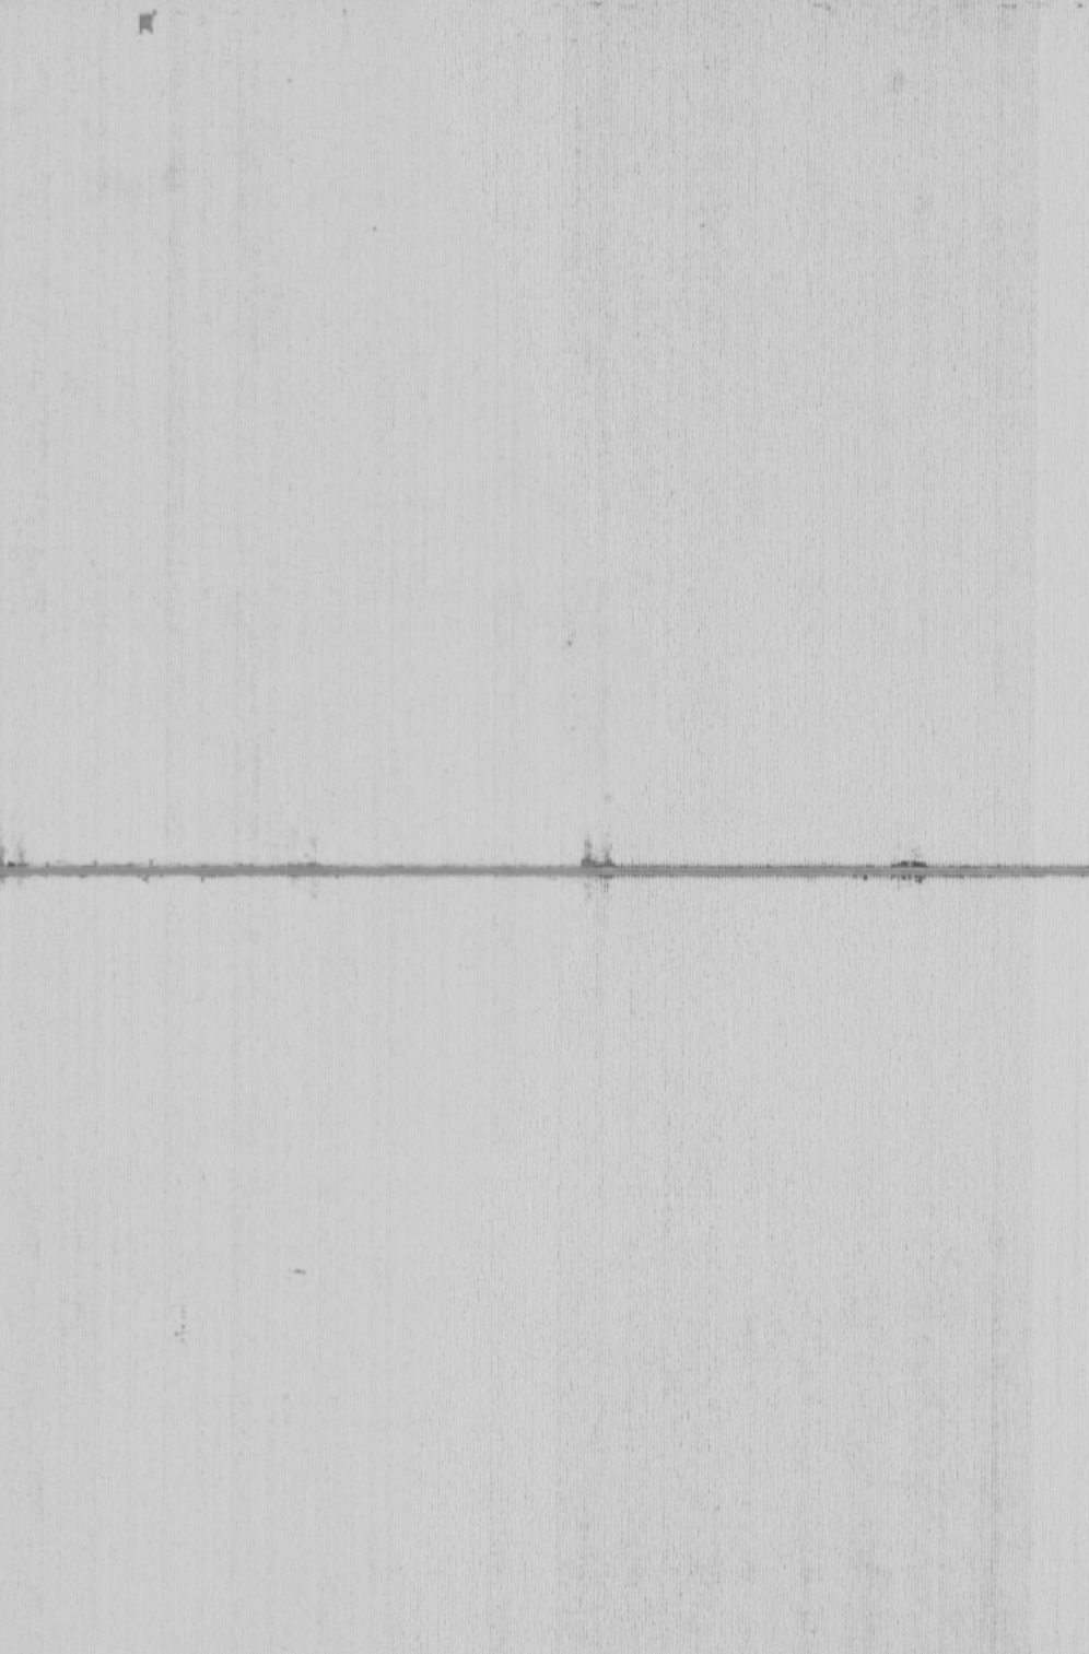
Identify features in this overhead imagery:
crop: (544, 826)

